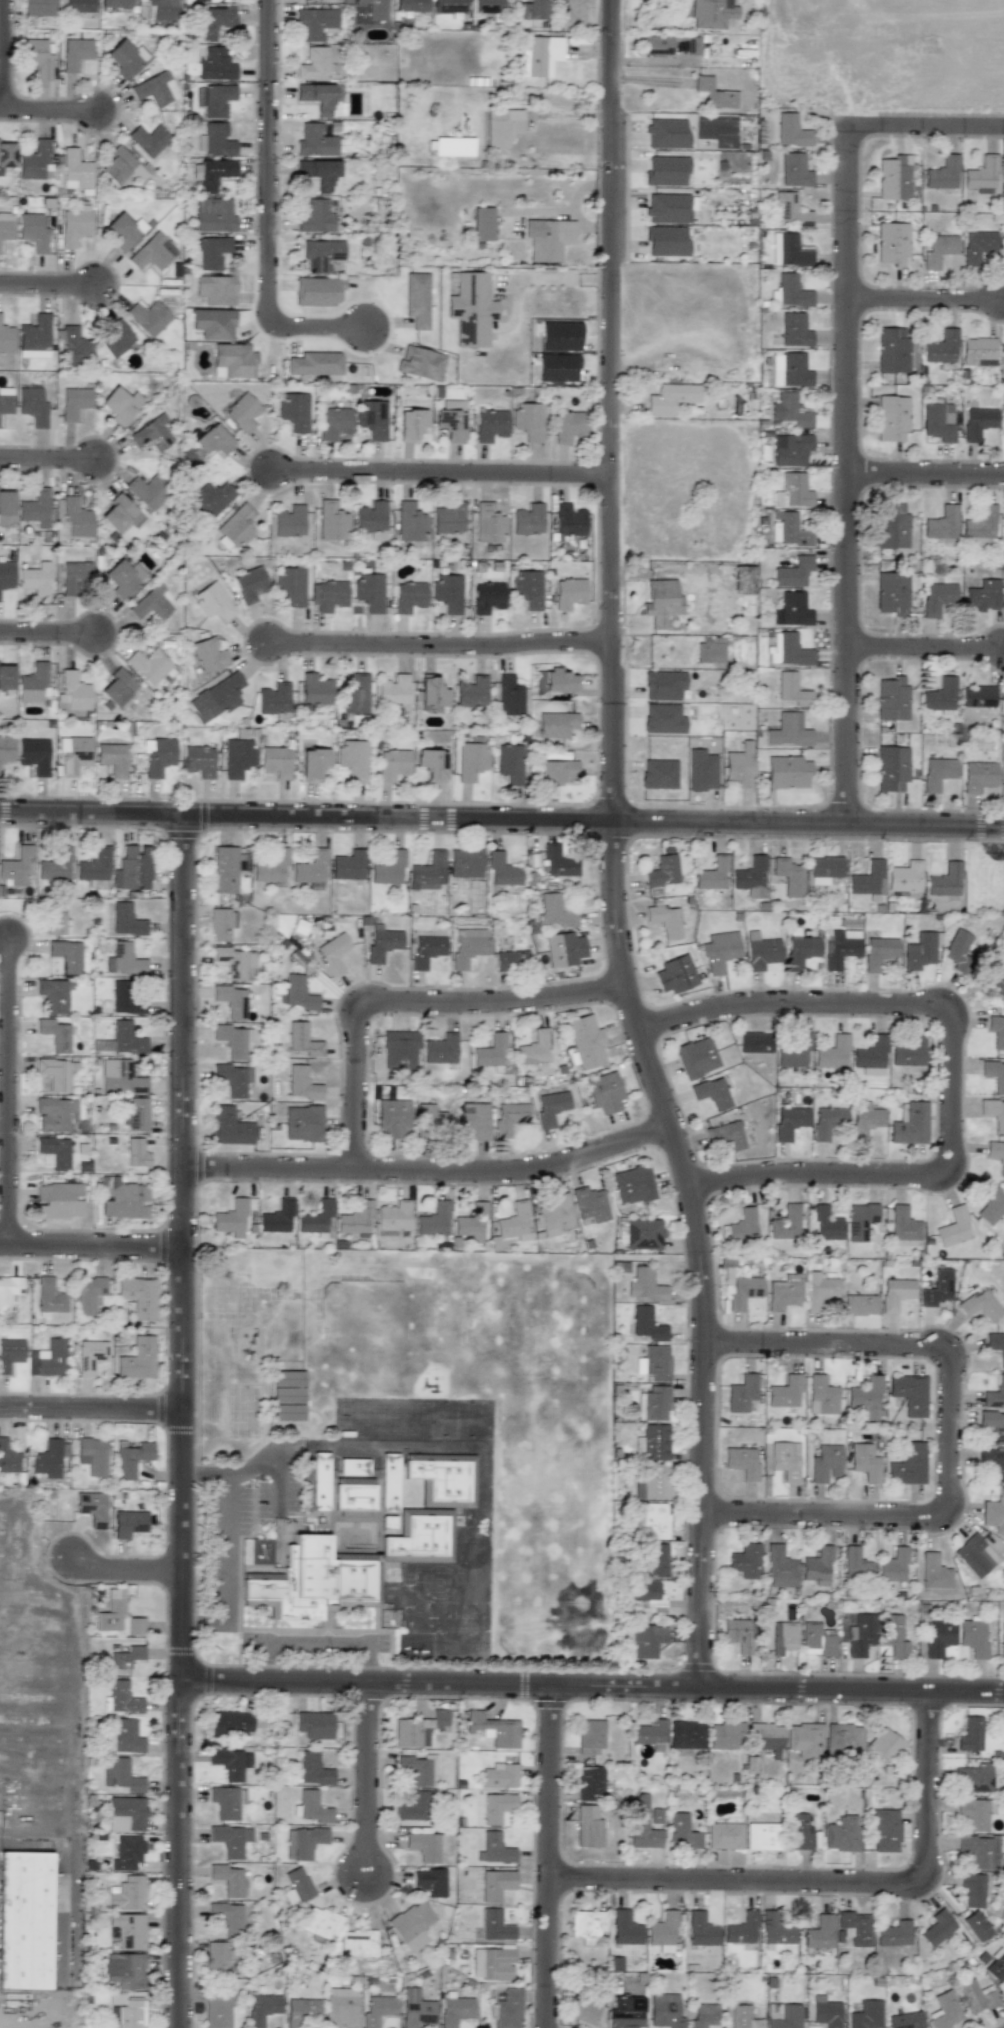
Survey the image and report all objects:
building: (202, 0)
building: (115, 3)
building: (411, 5)
building: (79, 6)
building: (448, 6)
building: (487, 6)
building: (37, 7)
building: (373, 8)
building: (160, 9)
building: (529, 10)
building: (711, 13)
building: (572, 14)
building: (215, 21)
building: (314, 23)
building: (657, 45)
building: (687, 45)
building: (74, 53)
road: (1, 55)
building: (539, 55)
building: (38, 57)
building: (124, 58)
road: (653, 61)
building: (215, 64)
building: (313, 64)
building: (154, 90)
building: (714, 94)
building: (317, 97)
building: (217, 99)
road: (47, 111)
road: (925, 123)
building: (501, 127)
building: (792, 131)
building: (666, 134)
building: (148, 139)
building: (215, 140)
building: (315, 141)
building: (453, 146)
building: (6, 155)
building: (34, 160)
building: (117, 167)
building: (74, 170)
building: (665, 170)
building: (795, 170)
building: (319, 172)
building: (214, 173)
building: (943, 173)
building: (983, 175)
building: (893, 177)
building: (1003, 177)
building: (666, 208)
building: (791, 210)
road: (267, 211)
building: (213, 215)
building: (316, 217)
building: (482, 223)
building: (74, 225)
building: (6, 226)
building: (31, 230)
building: (122, 231)
building: (548, 238)
building: (666, 241)
building: (892, 244)
building: (721, 245)
building: (977, 245)
building: (788, 250)
building: (939, 250)
building: (152, 252)
building: (211, 252)
building: (323, 255)
road: (537, 279)
road: (47, 286)
building: (215, 289)
building: (790, 290)
building: (318, 291)
building: (416, 299)
road: (924, 299)
building: (471, 308)
building: (148, 317)
building: (213, 323)
building: (794, 330)
building: (560, 336)
building: (34, 337)
building: (115, 338)
building: (6, 339)
building: (75, 345)
building: (942, 347)
building: (892, 350)
building: (978, 351)
building: (1003, 358)
building: (233, 360)
building: (314, 363)
building: (420, 363)
building: (557, 367)
building: (792, 371)
building: (670, 398)
building: (5, 400)
building: (74, 402)
building: (120, 404)
building: (34, 408)
building: (790, 410)
building: (293, 411)
building: (241, 412)
building: (371, 418)
building: (892, 418)
building: (450, 420)
building: (528, 420)
building: (938, 421)
building: (333, 422)
building: (978, 423)
building: (410, 424)
building: (490, 425)
building: (568, 426)
building: (151, 433)
building: (1003, 436)
building: (212, 440)
building: (791, 450)
road: (47, 459)
road: (440, 473)
road: (846, 474)
road: (925, 474)
building: (149, 490)
building: (792, 491)
building: (209, 499)
building: (5, 506)
building: (34, 508)
building: (119, 515)
building: (75, 517)
building: (448, 518)
building: (371, 520)
building: (527, 520)
building: (288, 521)
building: (331, 521)
building: (409, 521)
building: (568, 521)
building: (488, 523)
building: (941, 523)
building: (980, 523)
building: (891, 526)
building: (234, 527)
building: (787, 529)
building: (1003, 529)
building: (793, 572)
building: (6, 575)
building: (75, 577)
building: (122, 578)
building: (35, 581)
building: (249, 584)
building: (290, 585)
building: (741, 587)
building: (527, 588)
building: (369, 591)
building: (447, 592)
building: (892, 592)
building: (568, 593)
building: (328, 595)
building: (983, 595)
building: (408, 596)
building: (487, 597)
building: (937, 598)
building: (660, 601)
building: (212, 602)
building: (150, 603)
building: (792, 609)
road: (47, 633)
road: (439, 646)
road: (924, 647)
building: (710, 649)
building: (788, 650)
building: (206, 656)
building: (148, 666)
building: (6, 677)
building: (33, 683)
building: (554, 683)
building: (663, 685)
building: (117, 687)
building: (314, 690)
building: (392, 690)
building: (792, 690)
building: (74, 692)
building: (470, 692)
building: (431, 693)
building: (354, 694)
building: (509, 696)
building: (941, 696)
building: (978, 696)
building: (215, 697)
building: (273, 698)
building: (892, 699)
building: (1003, 704)
building: (662, 719)
building: (555, 724)
building: (788, 730)
building: (33, 754)
building: (73, 754)
building: (159, 756)
building: (237, 757)
building: (112, 758)
building: (352, 758)
building: (198, 760)
building: (470, 760)
building: (275, 761)
building: (313, 762)
building: (509, 763)
building: (392, 764)
building: (431, 764)
building: (740, 765)
building: (891, 768)
building: (701, 770)
building: (555, 772)
building: (787, 772)
building: (938, 773)
building: (658, 774)
building: (979, 776)
road: (502, 820)
road: (610, 850)
building: (465, 862)
building: (559, 862)
building: (56, 865)
building: (348, 865)
building: (18, 867)
building: (95, 867)
building: (271, 867)
building: (133, 868)
building: (224, 869)
building: (389, 869)
building: (824, 869)
building: (311, 870)
building: (502, 870)
building: (428, 871)
building: (663, 871)
building: (712, 874)
building: (789, 876)
building: (751, 877)
building: (867, 878)
building: (906, 878)
building: (945, 880)
building: (553, 911)
building: (56, 919)
building: (126, 920)
building: (665, 920)
building: (221, 924)
building: (382, 942)
building: (469, 946)
building: (840, 948)
building: (957, 948)
building: (563, 949)
building: (425, 950)
building: (720, 950)
building: (761, 951)
building: (801, 951)
building: (920, 951)
building: (879, 952)
building: (333, 953)
building: (67, 954)
building: (124, 960)
building: (511, 960)
building: (236, 962)
building: (675, 974)
building: (992, 977)
building: (297, 992)
building: (53, 995)
building: (126, 997)
building: (232, 1001)
road: (410, 1003)
building: (997, 1031)
building: (55, 1034)
building: (121, 1039)
building: (232, 1039)
building: (303, 1040)
building: (586, 1041)
building: (755, 1042)
building: (534, 1048)
building: (440, 1049)
building: (399, 1050)
building: (907, 1050)
building: (491, 1051)
building: (794, 1052)
building: (832, 1054)
building: (696, 1057)
building: (870, 1057)
road: (953, 1061)
building: (57, 1073)
building: (994, 1075)
building: (120, 1077)
building: (233, 1079)
building: (301, 1083)
building: (604, 1092)
road: (8, 1093)
building: (712, 1093)
building: (550, 1107)
building: (994, 1112)
building: (56, 1114)
building: (136, 1114)
building: (393, 1117)
building: (430, 1117)
building: (509, 1117)
building: (475, 1120)
building: (865, 1121)
building: (789, 1122)
building: (827, 1122)
building: (302, 1123)
building: (909, 1124)
building: (230, 1127)
building: (725, 1136)
building: (55, 1151)
building: (136, 1153)
building: (996, 1154)
road: (430, 1170)
building: (633, 1184)
road: (743, 1188)
building: (122, 1198)
building: (58, 1200)
building: (990, 1203)
building: (590, 1204)
building: (277, 1217)
building: (316, 1217)
building: (393, 1218)
building: (231, 1219)
building: (355, 1220)
building: (433, 1220)
building: (860, 1221)
building: (471, 1222)
building: (515, 1222)
building: (786, 1223)
building: (826, 1224)
building: (903, 1224)
building: (743, 1225)
building: (954, 1227)
building: (643, 1234)
road: (91, 1246)
building: (739, 1284)
building: (645, 1285)
building: (820, 1286)
building: (937, 1288)
building: (8, 1291)
building: (895, 1293)
building: (89, 1294)
building: (783, 1295)
building: (50, 1296)
building: (138, 1296)
building: (860, 1304)
building: (982, 1306)
building: (646, 1324)
building: (995, 1345)
building: (10, 1354)
building: (90, 1356)
building: (48, 1359)
building: (138, 1359)
building: (654, 1363)
building: (785, 1392)
building: (741, 1393)
building: (909, 1393)
building: (995, 1394)
building: (288, 1395)
building: (822, 1396)
building: (866, 1398)
building: (654, 1404)
road: (91, 1408)
road: (183, 1422)
building: (993, 1425)
road: (951, 1431)
building: (654, 1442)
building: (92, 1455)
building: (8, 1458)
building: (49, 1458)
building: (130, 1458)
building: (785, 1459)
building: (742, 1461)
building: (865, 1462)
building: (993, 1462)
building: (825, 1463)
building: (908, 1465)
building: (356, 1468)
building: (443, 1480)
building: (651, 1482)
building: (323, 1483)
building: (391, 1483)
building: (358, 1499)
building: (92, 1508)
building: (994, 1513)
road: (228, 1519)
building: (651, 1520)
building: (128, 1523)
building: (422, 1538)
building: (975, 1555)
building: (745, 1560)
building: (656, 1561)
building: (855, 1563)
building: (818, 1566)
building: (893, 1566)
building: (780, 1567)
road: (126, 1570)
building: (934, 1571)
building: (316, 1582)
building: (647, 1592)
building: (117, 1615)
building: (738, 1634)
building: (860, 1634)
building: (894, 1635)
building: (938, 1636)
building: (784, 1637)
building: (973, 1637)
building: (646, 1640)
building: (816, 1640)
road: (318, 1643)
building: (1002, 1647)
building: (122, 1661)
road: (593, 1687)
building: (121, 1701)
building: (230, 1722)
building: (314, 1724)
building: (417, 1729)
building: (493, 1729)
building: (650, 1734)
building: (970, 1734)
building: (687, 1735)
building: (725, 1735)
building: (124, 1736)
building: (589, 1736)
building: (767, 1738)
building: (843, 1738)
building: (805, 1740)
building: (884, 1743)
building: (231, 1763)
building: (418, 1768)
building: (313, 1769)
building: (500, 1775)
building: (121, 1776)
building: (973, 1778)
road: (367, 1779)
building: (590, 1783)
building: (225, 1802)
building: (312, 1807)
building: (413, 1807)
building: (497, 1807)
building: (126, 1814)
building: (971, 1815)
building: (656, 1816)
building: (641, 1824)
building: (588, 1826)
building: (885, 1830)
building: (682, 1831)
building: (799, 1832)
building: (724, 1833)
building: (842, 1834)
building: (762, 1836)
building: (230, 1839)
building: (303, 1842)
building: (425, 1846)
building: (494, 1849)
building: (980, 1851)
building: (127, 1852)
road: (549, 1857)
building: (227, 1879)
road: (832, 1880)
building: (430, 1882)
building: (496, 1885)
building: (297, 1886)
building: (972, 1889)
building: (128, 1894)
building: (228, 1917)
building: (27, 1920)
building: (322, 1922)
building: (412, 1925)
building: (495, 1925)
building: (587, 1925)
building: (976, 1926)
building: (855, 1927)
building: (625, 1928)
building: (937, 1928)
building: (742, 1929)
building: (701, 1930)
building: (775, 1930)
building: (127, 1931)
building: (663, 1932)
building: (819, 1933)
building: (894, 1934)
building: (358, 1942)
building: (216, 1957)
building: (492, 1964)
building: (996, 1965)
building: (125, 1970)
building: (975, 1997)
building: (262, 2008)
building: (341, 2008)
building: (416, 2008)
building: (217, 2009)
building: (378, 2009)
building: (507, 2009)
building: (455, 2010)
building: (665, 2010)
building: (303, 2011)
building: (946, 2011)
building: (585, 2012)
building: (626, 2012)
building: (825, 2012)
building: (129, 2014)
building: (704, 2015)
building: (783, 2015)
building: (866, 2015)
building: (740, 2017)
building: (905, 2020)

